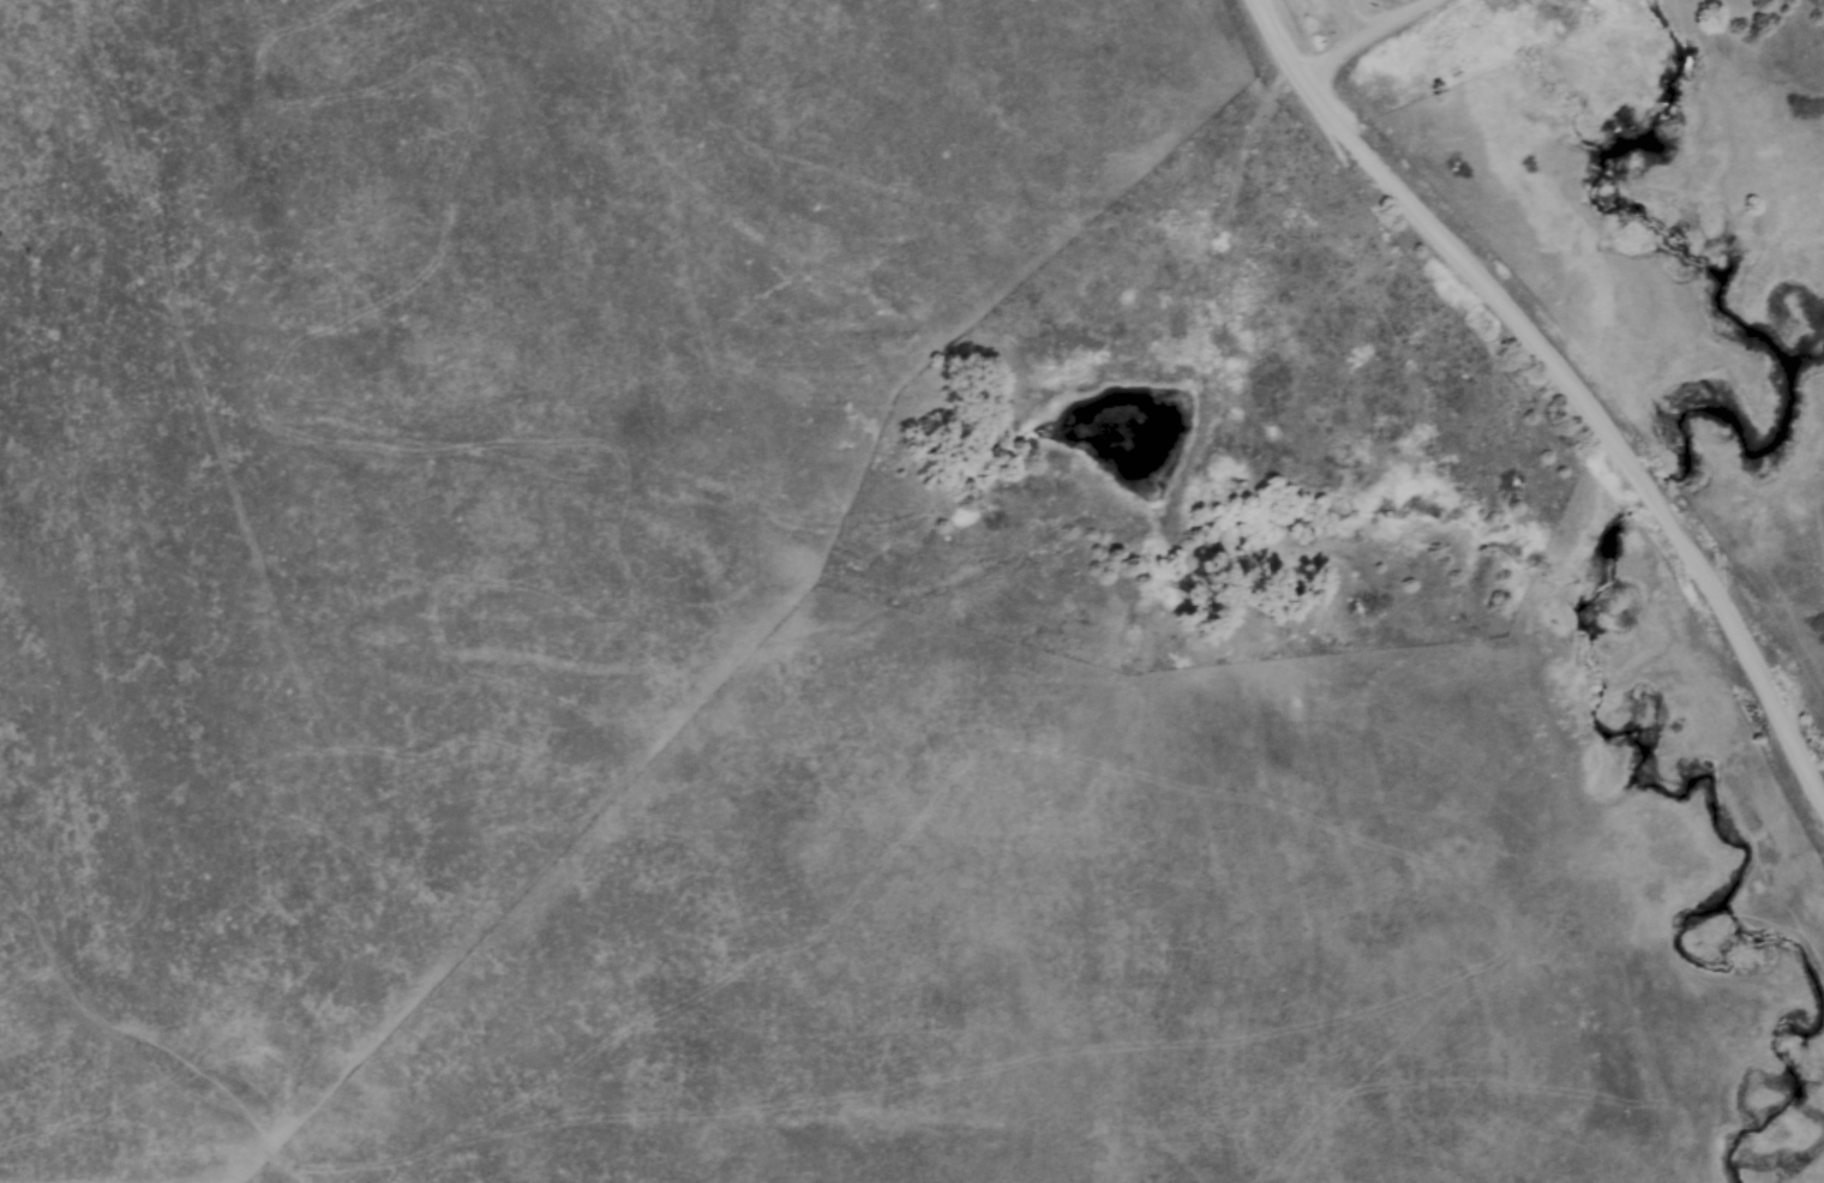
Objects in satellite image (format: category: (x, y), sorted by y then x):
road: (1369, 38)
park: (1439, 38)
road: (1572, 376)

